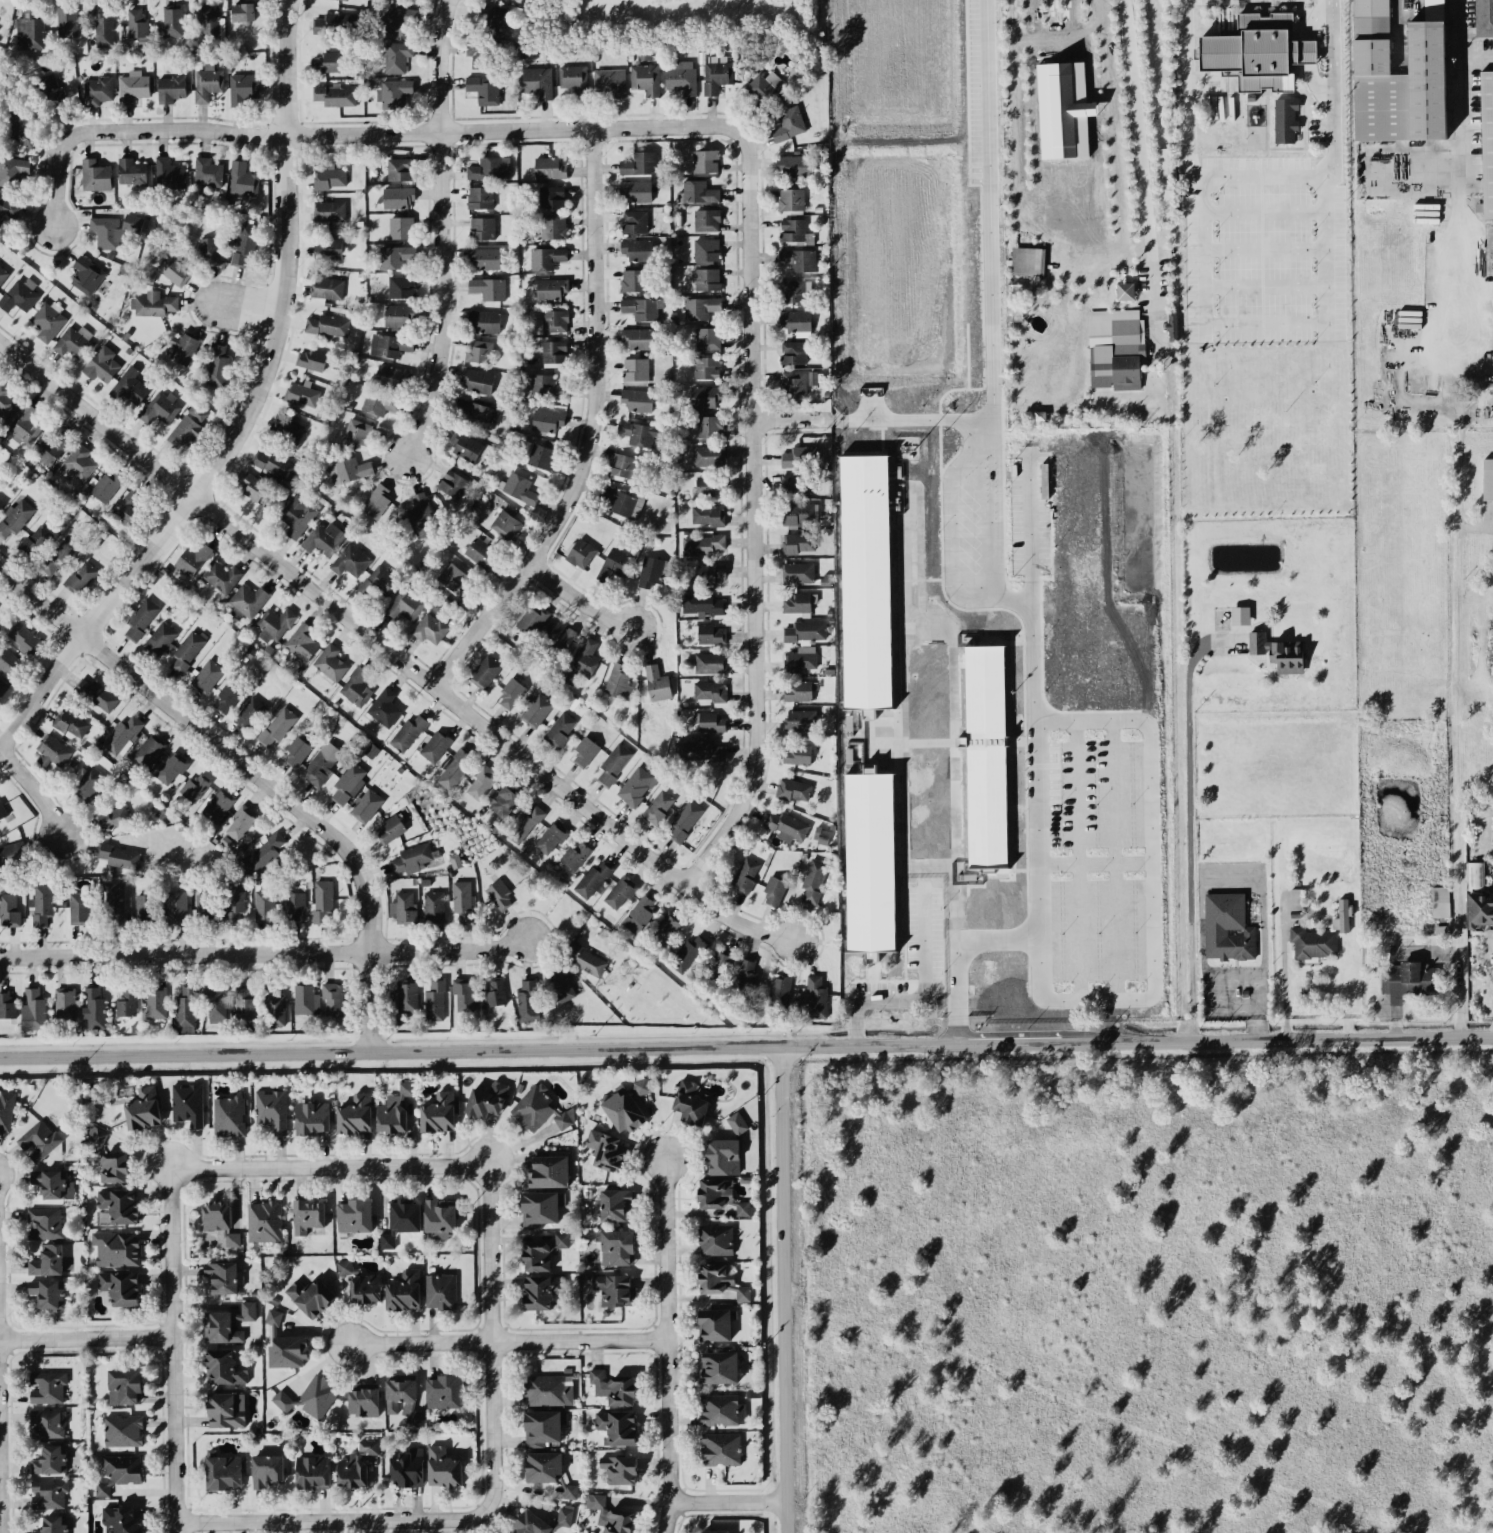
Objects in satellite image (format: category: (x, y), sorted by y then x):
building: (243, 11)
road: (1012, 16)
building: (496, 17)
road: (1312, 17)
building: (1484, 17)
building: (398, 19)
building: (67, 20)
building: (173, 20)
building: (334, 22)
building: (210, 23)
road: (1092, 23)
building: (138, 25)
building: (103, 28)
building: (30, 29)
building: (1257, 51)
road: (1306, 52)
building: (479, 53)
building: (397, 56)
building: (327, 62)
building: (716, 75)
building: (1399, 75)
building: (681, 77)
building: (574, 78)
building: (646, 78)
building: (538, 81)
building: (610, 81)
building: (207, 82)
road: (1315, 84)
building: (133, 86)
building: (171, 87)
building: (243, 88)
building: (484, 89)
building: (97, 90)
building: (763, 91)
building: (54, 93)
building: (393, 93)
building: (334, 94)
building: (1285, 119)
building: (788, 123)
road: (1113, 124)
building: (18, 127)
road: (366, 136)
building: (1487, 140)
road: (1458, 142)
building: (705, 161)
building: (639, 163)
building: (795, 165)
building: (490, 167)
building: (549, 167)
building: (399, 168)
building: (13, 170)
building: (131, 171)
building: (207, 171)
building: (169, 173)
building: (95, 175)
road: (1260, 175)
road: (1144, 177)
building: (243, 179)
building: (1165, 182)
building: (636, 190)
building: (698, 192)
building: (552, 196)
building: (397, 197)
building: (480, 197)
building: (791, 199)
building: (8, 210)
building: (329, 210)
building: (706, 219)
building: (634, 221)
building: (401, 227)
building: (482, 227)
building: (554, 227)
building: (114, 229)
road: (1102, 231)
road: (446, 232)
building: (795, 232)
building: (1034, 239)
building: (243, 245)
building: (328, 248)
building: (637, 249)
building: (706, 249)
road: (1123, 249)
building: (208, 250)
building: (394, 255)
building: (546, 257)
building: (483, 258)
building: (799, 259)
building: (1028, 260)
building: (174, 269)
building: (3, 274)
building: (86, 275)
building: (707, 278)
building: (634, 280)
building: (401, 286)
building: (327, 287)
building: (550, 287)
building: (488, 288)
building: (793, 290)
building: (1125, 290)
building: (20, 294)
building: (1014, 301)
building: (154, 304)
building: (701, 307)
building: (644, 308)
parking lot: (1152, 308)
road: (250, 310)
building: (399, 316)
building: (555, 320)
building: (796, 320)
building: (47, 321)
building: (485, 321)
building: (327, 325)
building: (1172, 325)
building: (1114, 329)
building: (638, 338)
building: (708, 338)
building: (74, 341)
building: (390, 344)
building: (184, 346)
building: (478, 350)
building: (1126, 350)
building: (1172, 351)
building: (554, 352)
building: (793, 352)
building: (311, 359)
building: (102, 364)
building: (217, 366)
building: (706, 367)
road: (989, 367)
building: (635, 370)
building: (1126, 370)
building: (1104, 371)
building: (390, 376)
building: (813, 377)
building: (476, 380)
building: (793, 382)
building: (131, 385)
building: (546, 385)
building: (301, 392)
building: (706, 396)
building: (637, 399)
building: (7, 400)
building: (378, 402)
building: (160, 407)
building: (196, 412)
road: (249, 412)
building: (475, 412)
building: (1084, 413)
building: (1040, 414)
road: (795, 417)
building: (547, 420)
building: (24, 424)
building: (710, 426)
building: (287, 428)
building: (356, 430)
building: (183, 431)
road: (595, 431)
building: (637, 433)
building: (944, 443)
building: (465, 445)
building: (52, 446)
building: (542, 454)
building: (708, 455)
building: (803, 455)
building: (77, 463)
building: (275, 465)
building: (622, 466)
building: (349, 470)
building: (1488, 478)
building: (796, 482)
building: (452, 483)
building: (105, 485)
building: (252, 485)
building: (708, 485)
building: (518, 487)
building: (620, 500)
building: (1, 501)
building: (377, 501)
building: (127, 505)
building: (296, 511)
building: (709, 514)
building: (800, 514)
building: (421, 516)
building: (15, 517)
road: (759, 519)
building: (505, 524)
building: (324, 538)
building: (36, 541)
building: (798, 542)
building: (703, 544)
building: (481, 552)
building: (581, 553)
building: (60, 554)
building: (192, 559)
building: (350, 560)
building: (613, 564)
building: (650, 572)
building: (711, 572)
building: (798, 572)
building: (81, 576)
building: (222, 576)
building: (453, 578)
building: (377, 581)
building: (866, 581)
road: (580, 600)
building: (247, 601)
building: (797, 602)
building: (703, 603)
building: (406, 605)
building: (531, 617)
building: (141, 618)
building: (275, 624)
building: (430, 628)
building: (805, 630)
building: (711, 633)
building: (561, 634)
building: (24, 638)
building: (160, 639)
building: (301, 641)
building: (187, 650)
road: (392, 651)
building: (1278, 652)
building: (800, 658)
building: (8, 660)
building: (584, 660)
building: (330, 662)
building: (710, 662)
building: (485, 671)
building: (207, 675)
building: (620, 681)
building: (657, 683)
building: (356, 686)
building: (2, 688)
building: (711, 690)
building: (799, 690)
building: (511, 692)
building: (97, 694)
building: (227, 696)
building: (385, 707)
building: (536, 709)
building: (250, 713)
building: (800, 720)
building: (71, 721)
building: (711, 722)
road: (1464, 725)
building: (277, 726)
building: (559, 728)
building: (408, 732)
building: (123, 734)
road: (219, 742)
building: (435, 746)
building: (149, 750)
building: (371, 750)
building: (698, 750)
building: (53, 751)
building: (297, 751)
building: (585, 751)
building: (798, 754)
building: (986, 756)
building: (613, 764)
building: (319, 766)
building: (170, 767)
building: (454, 768)
building: (86, 780)
building: (481, 781)
building: (348, 782)
building: (195, 786)
building: (636, 786)
road: (38, 787)
building: (793, 789)
building: (503, 800)
building: (218, 804)
building: (366, 805)
building: (658, 806)
building: (2, 810)
building: (113, 819)
building: (685, 820)
building: (241, 821)
building: (523, 823)
building: (787, 826)
building: (391, 828)
building: (551, 837)
road: (1189, 839)
building: (266, 850)
building: (12, 851)
building: (576, 854)
building: (119, 855)
building: (412, 858)
building: (870, 862)
building: (744, 874)
building: (1475, 875)
building: (594, 878)
road: (1234, 878)
building: (813, 879)
building: (774, 890)
building: (620, 892)
building: (499, 894)
building: (1296, 898)
building: (322, 899)
building: (463, 899)
building: (235, 901)
building: (1440, 901)
building: (115, 903)
building: (42, 904)
building: (146, 905)
building: (264, 905)
building: (294, 905)
building: (205, 906)
building: (433, 906)
building: (79, 907)
building: (176, 907)
building: (403, 908)
building: (1480, 908)
building: (9, 909)
building: (640, 912)
building: (1341, 916)
building: (1227, 927)
building: (666, 928)
road: (996, 939)
building: (1313, 942)
road: (265, 951)
building: (588, 960)
building: (719, 964)
road: (957, 968)
building: (745, 971)
building: (1407, 980)
building: (560, 986)
building: (780, 988)
road: (1284, 990)
building: (495, 991)
building: (463, 993)
building: (407, 995)
building: (817, 995)
road: (1146, 995)
building: (333, 998)
building: (306, 999)
road: (886, 999)
building: (244, 1000)
building: (435, 1000)
building: (528, 1000)
building: (65, 1002)
building: (156, 1002)
road: (377, 1002)
building: (126, 1003)
building: (215, 1004)
road: (1217, 1004)
building: (7, 1005)
building: (275, 1007)
building: (94, 1008)
building: (33, 1009)
building: (186, 1009)
road: (746, 1046)
building: (487, 1099)
building: (691, 1102)
building: (188, 1104)
building: (144, 1109)
building: (271, 1109)
building: (394, 1109)
building: (6, 1110)
building: (541, 1110)
building: (623, 1110)
building: (438, 1113)
building: (229, 1114)
building: (355, 1114)
building: (312, 1118)
building: (737, 1122)
building: (39, 1140)
building: (605, 1150)
building: (723, 1156)
building: (107, 1157)
road: (330, 1165)
building: (549, 1168)
building: (53, 1183)
building: (716, 1192)
building: (614, 1205)
building: (117, 1206)
building: (540, 1208)
building: (743, 1208)
building: (217, 1214)
building: (308, 1215)
building: (355, 1215)
building: (440, 1217)
building: (264, 1221)
building: (401, 1221)
building: (45, 1223)
building: (232, 1238)
building: (716, 1239)
building: (561, 1240)
building: (617, 1247)
building: (117, 1248)
building: (536, 1255)
building: (48, 1260)
building: (223, 1276)
building: (721, 1281)
building: (360, 1282)
building: (121, 1286)
building: (614, 1289)
road: (784, 1289)
building: (404, 1291)
building: (441, 1291)
building: (541, 1291)
building: (47, 1292)
building: (311, 1296)
building: (246, 1311)
building: (272, 1316)
building: (716, 1324)
building: (221, 1327)
road: (491, 1334)
road: (86, 1338)
road: (507, 1341)
road: (667, 1344)
road: (172, 1350)
building: (288, 1351)
building: (225, 1367)
building: (720, 1367)
building: (125, 1386)
building: (48, 1387)
building: (613, 1387)
building: (549, 1390)
building: (444, 1391)
building: (310, 1396)
building: (364, 1399)
building: (403, 1399)
building: (226, 1409)
building: (722, 1409)
building: (46, 1423)
building: (617, 1426)
building: (543, 1427)
building: (123, 1430)
building: (721, 1448)
building: (50, 1460)
building: (356, 1465)
building: (407, 1467)
building: (443, 1467)
building: (543, 1467)
building: (267, 1469)
building: (620, 1469)
building: (120, 1471)
building: (223, 1471)
building: (313, 1471)
building: (570, 1491)
building: (49, 1493)
road: (726, 1501)
building: (564, 1515)
building: (610, 1515)
building: (121, 1520)
road: (334, 1521)
building: (54, 1524)
building: (531, 1524)
building: (714, 1531)

